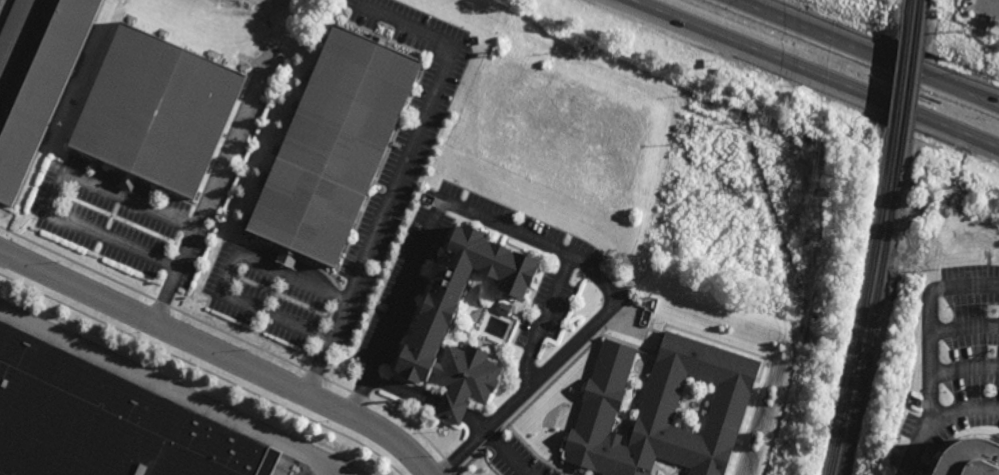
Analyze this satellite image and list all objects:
building: (0, 0)
road: (3, 8)
building: (16, 36)
road: (866, 53)
road: (26, 57)
railway: (901, 68)
railway: (909, 69)
road: (814, 73)
building: (42, 91)
road: (978, 97)
building: (157, 110)
building: (334, 145)
road: (996, 146)
road: (394, 174)
power tower: (823, 184)
road: (213, 189)
road: (56, 191)
road: (550, 246)
road: (232, 273)
railway: (866, 306)
railway: (872, 307)
road: (544, 318)
building: (431, 321)
road: (930, 324)
road: (965, 330)
road: (221, 354)
road: (964, 369)
road: (172, 390)
road: (404, 391)
road: (450, 409)
building: (662, 409)
road: (475, 420)
road: (937, 421)
building: (105, 422)
road: (505, 452)
building: (970, 458)
parking lot: (520, 461)
road: (345, 471)

